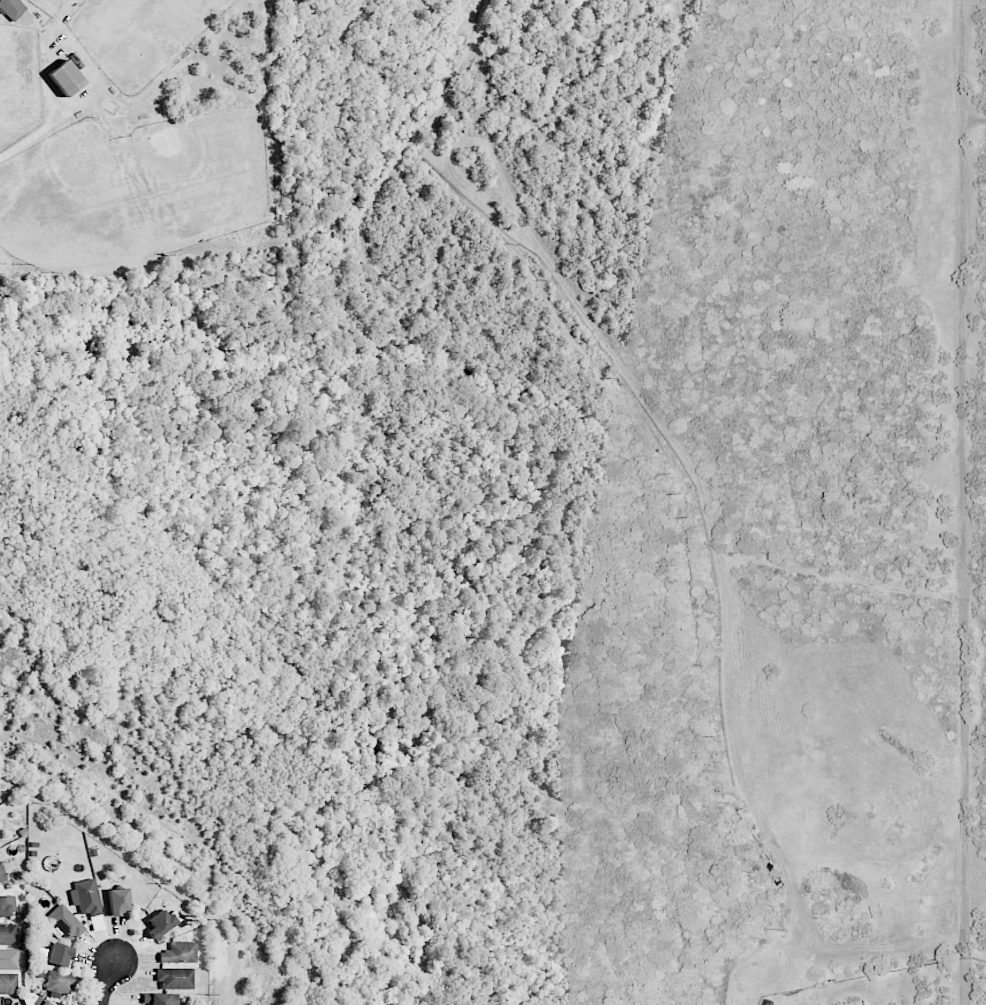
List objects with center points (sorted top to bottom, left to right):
building: (12, 8)
building: (66, 77)
road: (973, 120)
road: (33, 136)
road: (961, 502)
wastewater plant: (854, 777)
building: (1, 875)
building: (85, 898)
building: (118, 901)
building: (3, 907)
building: (65, 922)
building: (162, 923)
building: (8, 934)
building: (179, 953)
building: (59, 955)
building: (9, 959)
building: (175, 978)
building: (59, 982)
road: (108, 983)
building: (8, 984)
building: (162, 998)
building: (45, 1003)

